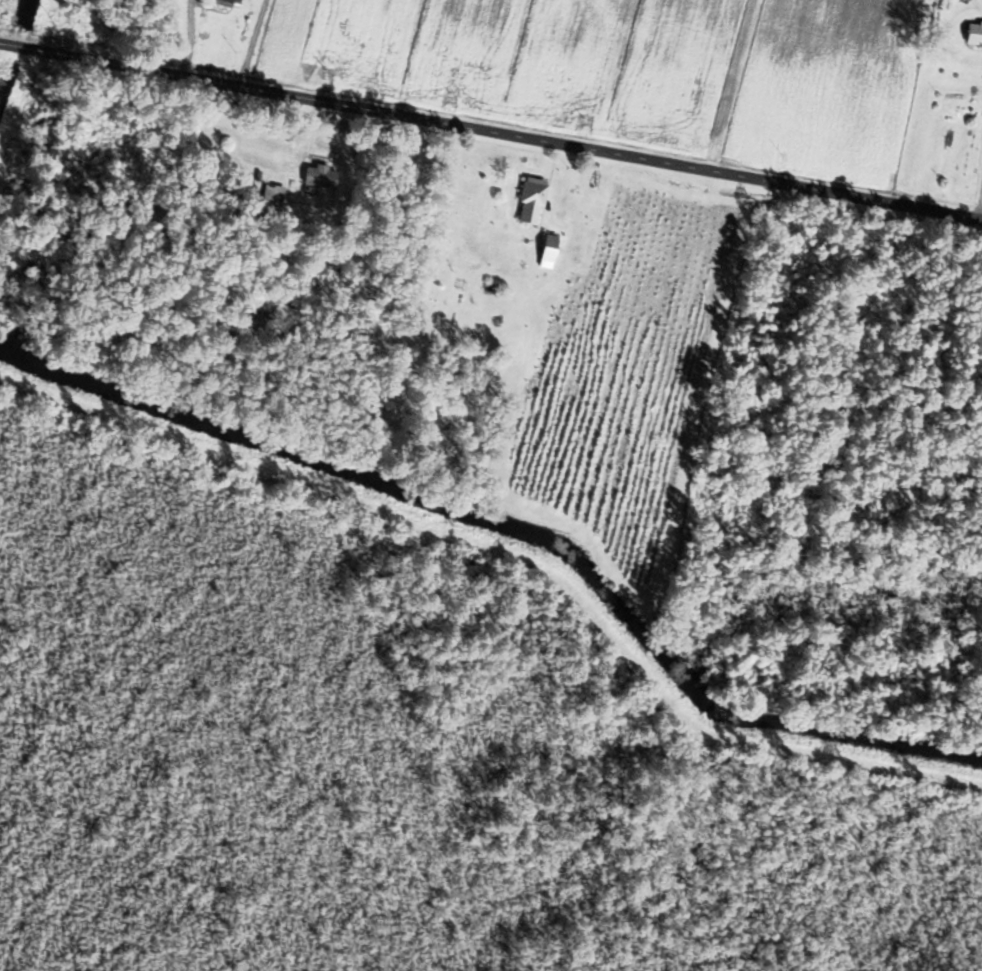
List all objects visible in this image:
building: (228, 2)
building: (973, 34)
road: (190, 41)
road: (250, 45)
crop: (529, 60)
crop: (824, 87)
road: (490, 135)
building: (319, 176)
building: (271, 197)
building: (531, 200)
road: (979, 208)

